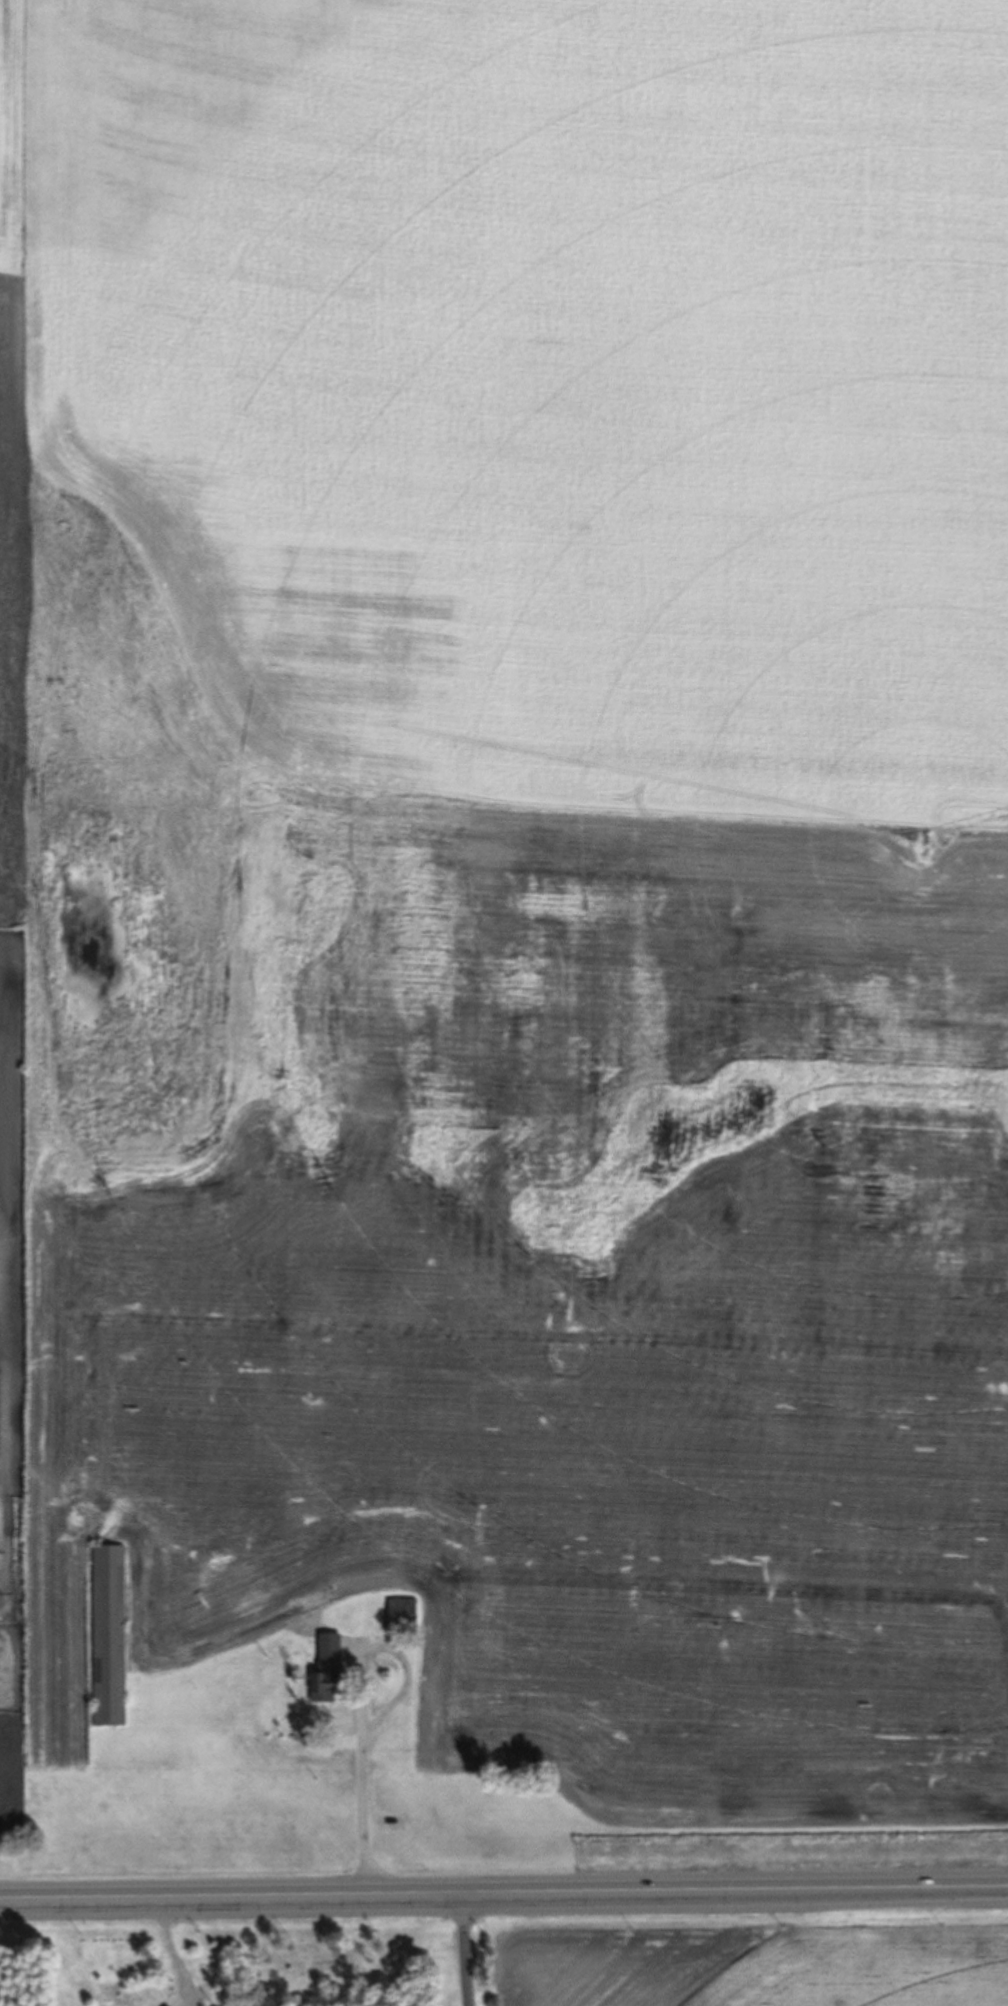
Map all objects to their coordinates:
building: (0, 1540)
building: (349, 1584)
building: (402, 1617)
building: (110, 1636)
building: (327, 1669)
road: (504, 1891)
road: (460, 1949)

